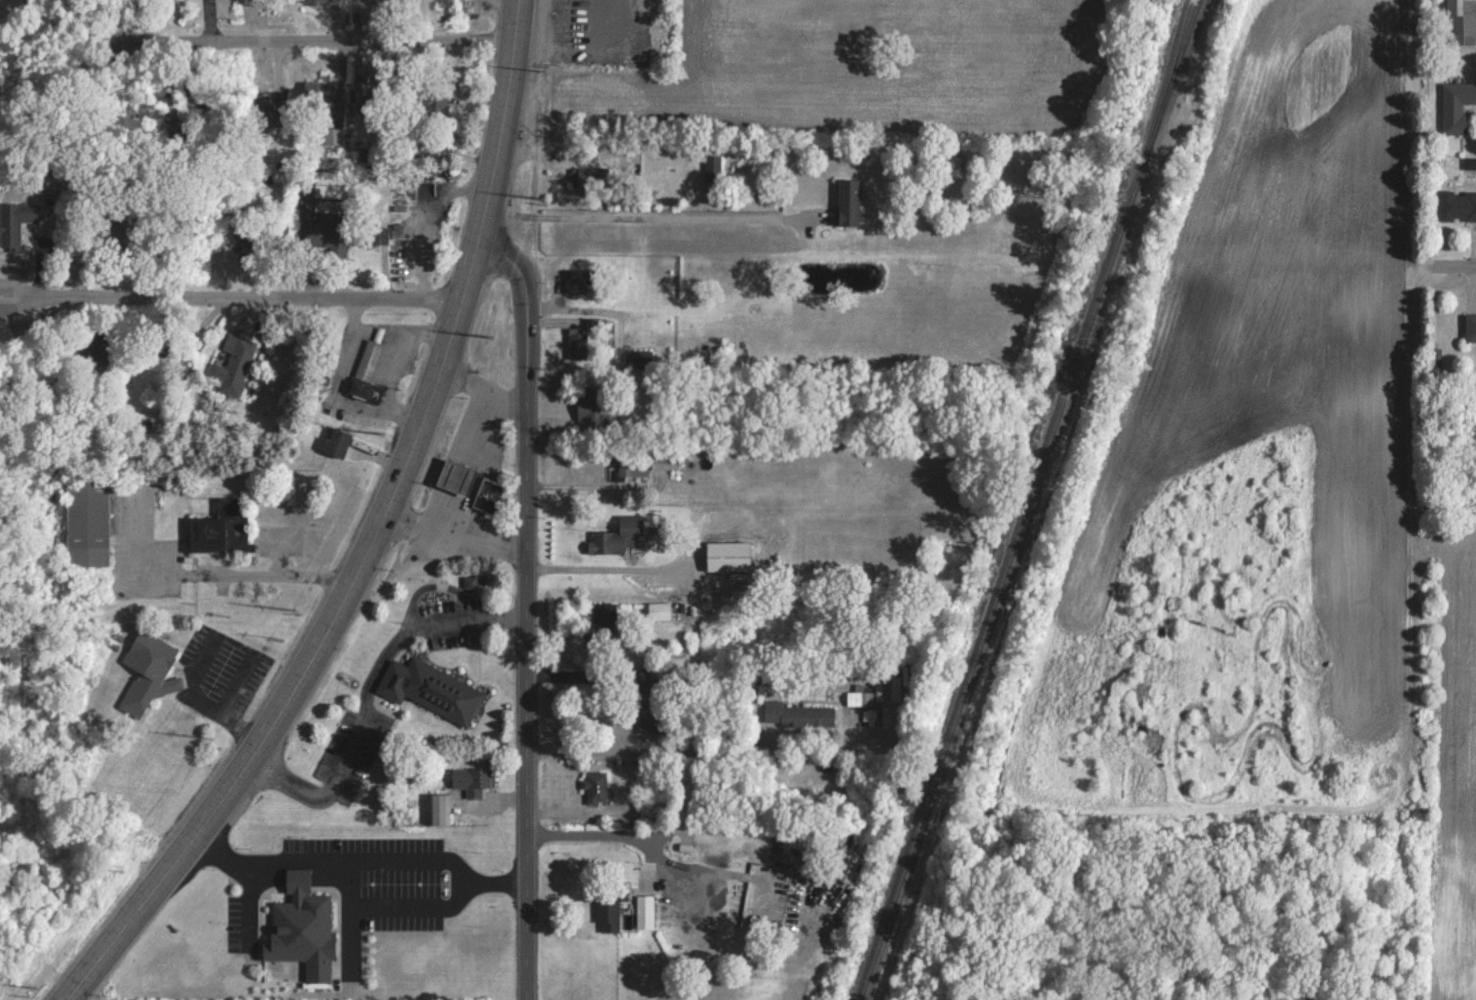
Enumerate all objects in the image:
building: (593, 18)
building: (1459, 19)
road: (631, 22)
park: (19, 29)
road: (300, 38)
road: (569, 45)
railway: (1166, 77)
railway: (1170, 77)
road: (455, 88)
building: (364, 105)
building: (1456, 105)
building: (266, 111)
road: (548, 153)
building: (954, 162)
building: (711, 168)
building: (587, 176)
building: (323, 181)
building: (43, 183)
building: (846, 201)
building: (1457, 205)
road: (649, 218)
building: (14, 221)
building: (321, 229)
building: (373, 235)
road: (1464, 278)
building: (576, 279)
road: (230, 296)
road: (424, 326)
building: (1470, 327)
building: (576, 341)
road: (395, 343)
building: (641, 358)
building: (231, 364)
building: (365, 372)
road: (339, 391)
building: (589, 402)
building: (334, 442)
building: (664, 460)
building: (630, 466)
road: (478, 469)
building: (454, 475)
road: (591, 481)
building: (486, 495)
building: (84, 522)
building: (219, 528)
road: (480, 533)
road: (371, 536)
building: (618, 536)
building: (726, 555)
road: (606, 566)
railway: (1000, 577)
road: (436, 583)
road: (524, 607)
building: (146, 671)
building: (429, 689)
building: (865, 698)
building: (645, 699)
road: (360, 703)
building: (796, 714)
road: (645, 750)
building: (471, 780)
building: (594, 788)
building: (437, 809)
road: (614, 837)
road: (359, 860)
road: (252, 903)
road: (394, 908)
building: (643, 911)
building: (607, 912)
building: (301, 928)

